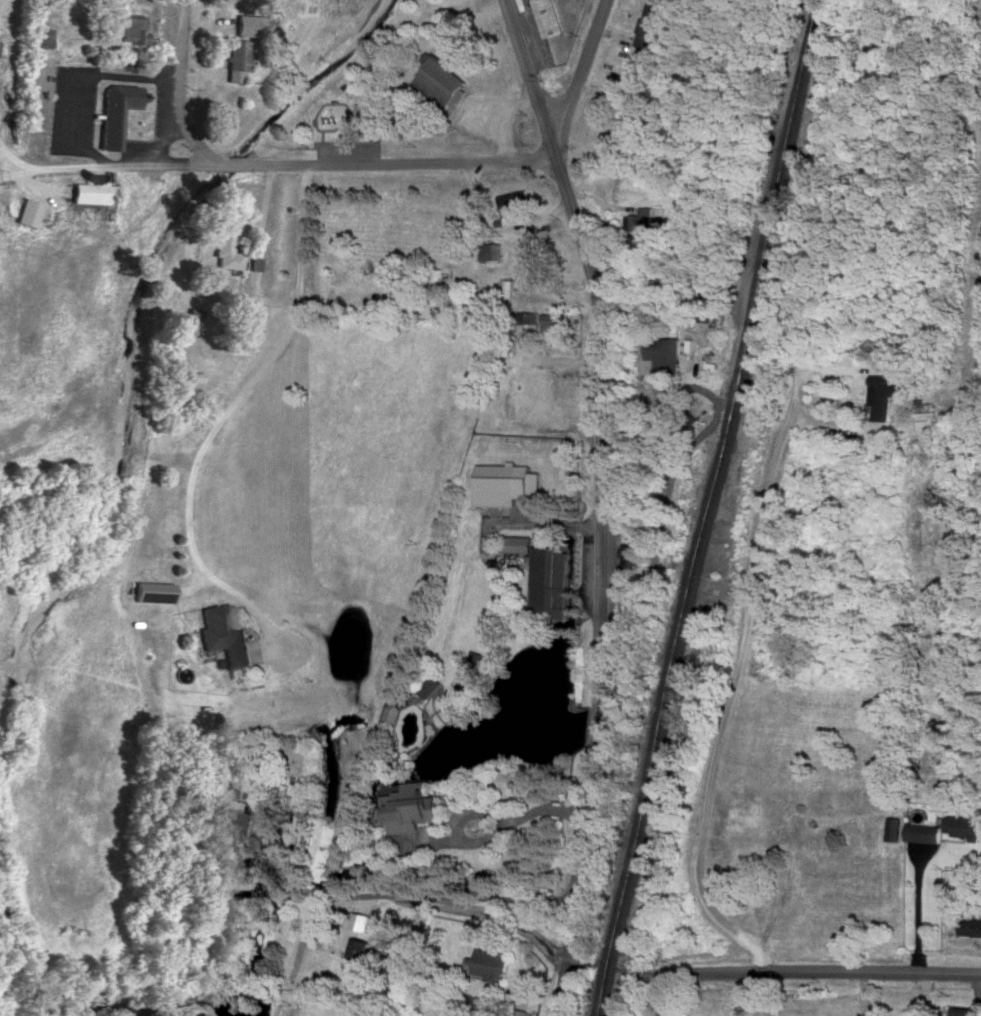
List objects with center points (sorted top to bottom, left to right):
building: (549, 17)
building: (251, 24)
building: (649, 25)
building: (132, 28)
building: (44, 34)
building: (237, 58)
road: (582, 68)
building: (441, 81)
building: (369, 110)
building: (117, 111)
building: (603, 138)
road: (366, 164)
road: (85, 170)
road: (15, 175)
building: (93, 192)
road: (845, 193)
building: (515, 199)
building: (29, 211)
road: (474, 216)
building: (644, 219)
road: (163, 225)
building: (225, 245)
building: (492, 250)
building: (254, 262)
building: (438, 286)
building: (195, 313)
building: (530, 315)
building: (556, 321)
building: (668, 351)
building: (194, 374)
building: (883, 394)
road: (678, 396)
road: (229, 408)
road: (811, 418)
building: (926, 419)
building: (506, 482)
road: (601, 502)
railway: (714, 508)
building: (520, 542)
building: (629, 553)
building: (552, 580)
building: (153, 590)
building: (226, 638)
building: (480, 658)
building: (431, 685)
road: (732, 702)
building: (234, 787)
building: (410, 807)
road: (547, 807)
building: (239, 818)
building: (965, 825)
building: (895, 827)
building: (925, 831)
road: (468, 843)
road: (415, 897)
road: (918, 904)
building: (362, 920)
building: (971, 926)
building: (365, 950)
building: (493, 963)
road: (584, 965)
road: (821, 971)
road: (646, 976)
road: (659, 996)
building: (963, 1011)
building: (521, 1012)
building: (202, 1013)

